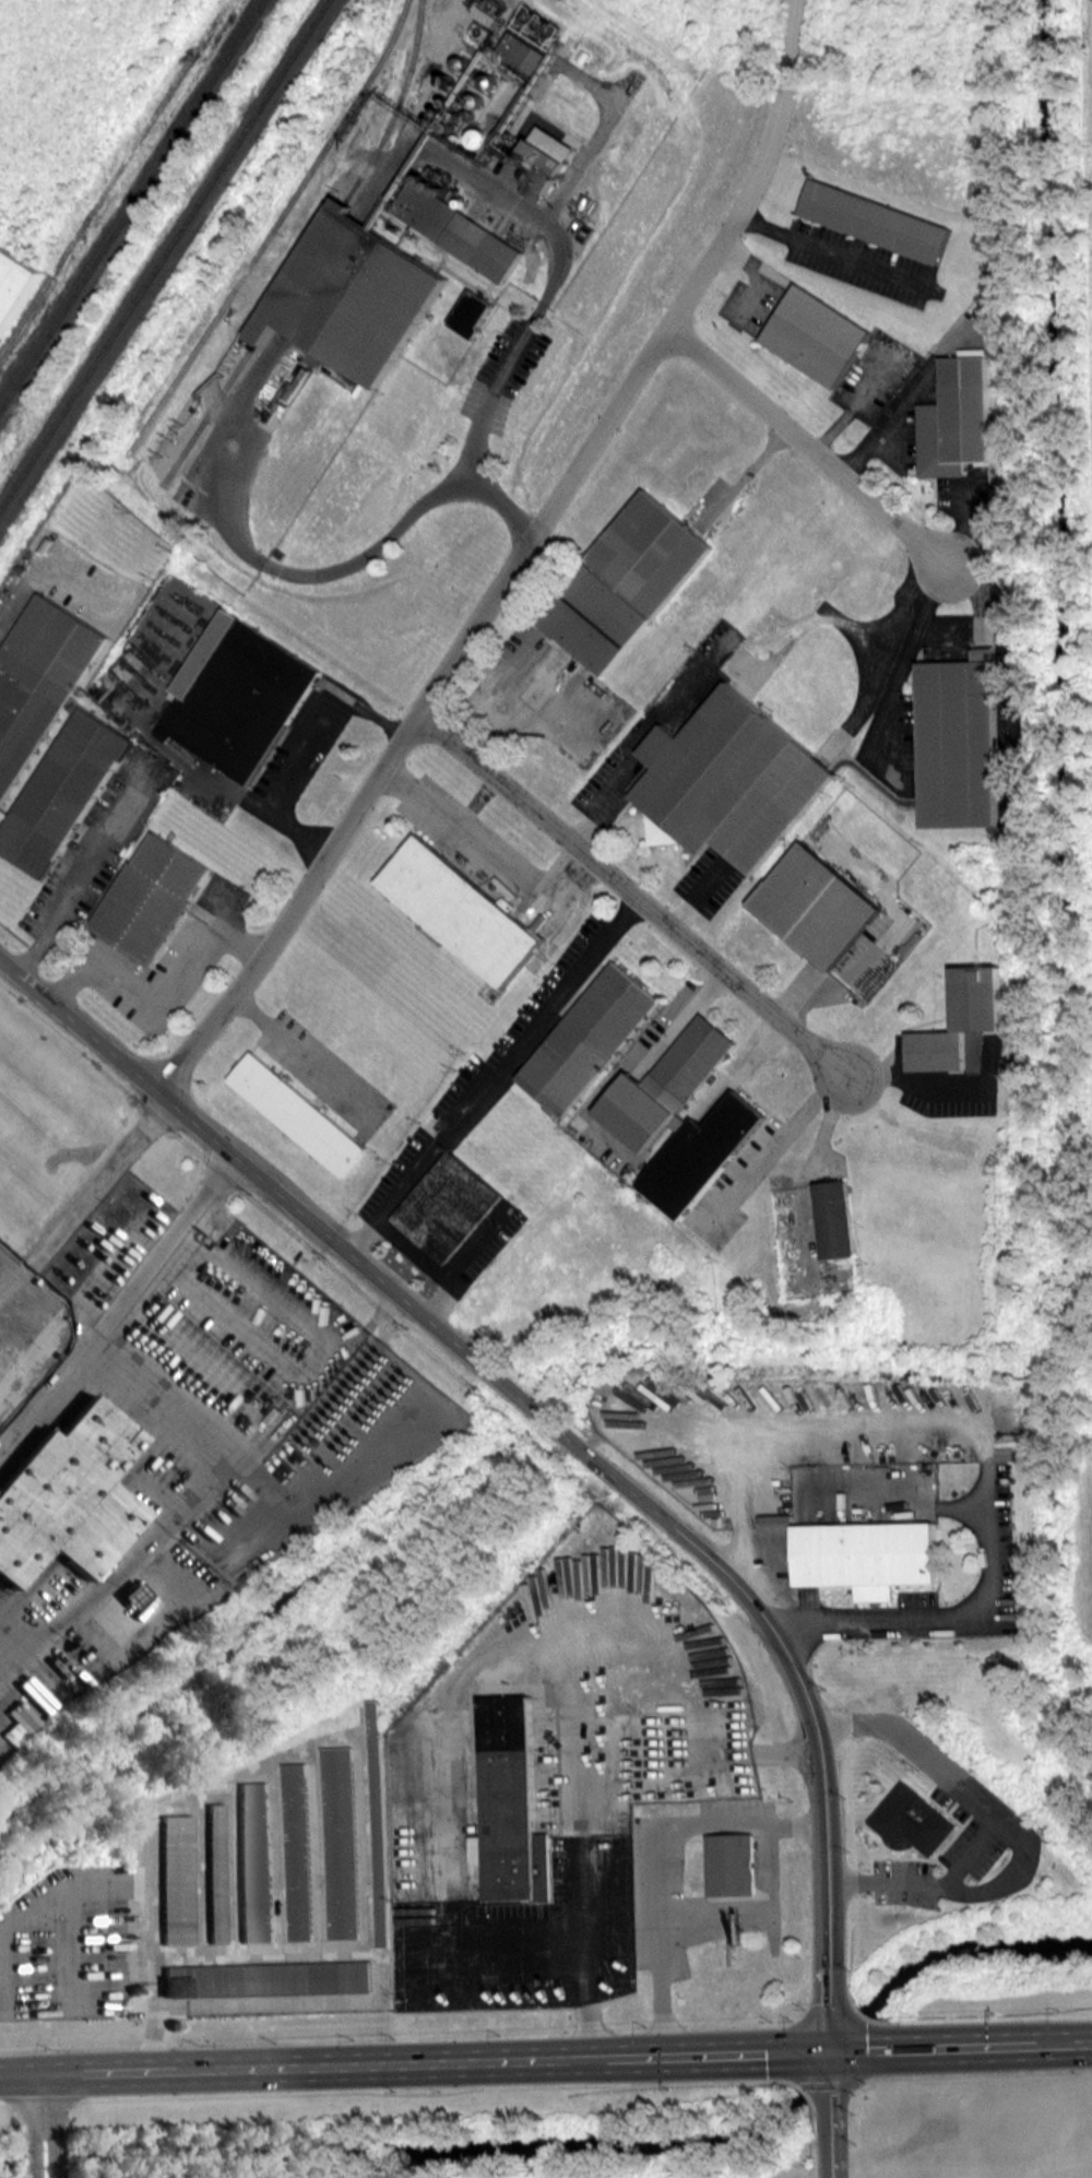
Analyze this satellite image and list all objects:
landfill: (1091, 27)
building: (523, 51)
building: (539, 167)
railway: (114, 174)
railway: (131, 203)
building: (880, 220)
railway: (270, 229)
building: (456, 229)
railway: (311, 249)
railway: (163, 253)
building: (14, 284)
building: (352, 295)
building: (473, 312)
building: (820, 335)
road: (496, 382)
building: (960, 418)
road: (810, 445)
road: (514, 561)
road: (284, 569)
building: (627, 581)
building: (237, 695)
road: (371, 712)
building: (92, 729)
building: (962, 742)
building: (733, 780)
road: (286, 790)
road: (485, 851)
road: (634, 893)
building: (151, 899)
building: (819, 905)
building: (462, 911)
road: (156, 993)
building: (964, 1020)
building: (589, 1039)
road: (306, 1057)
road: (491, 1073)
road: (917, 1080)
building: (297, 1113)
building: (684, 1116)
road: (820, 1144)
road: (779, 1149)
building: (448, 1208)
building: (835, 1220)
road: (418, 1260)
road: (111, 1315)
road: (556, 1428)
building: (68, 1498)
building: (868, 1556)
road: (938, 1612)
building: (510, 1810)
building: (910, 1820)
building: (378, 1821)
road: (1016, 1830)
building: (341, 1843)
building: (298, 1851)
building: (253, 1861)
building: (734, 1867)
building: (215, 1872)
building: (175, 1879)
road: (582, 1887)
road: (491, 1937)
building: (268, 1978)
road: (961, 2047)
traffic signals: (831, 2051)
road: (415, 2062)
road: (832, 2115)
road: (33, 2126)
road: (54, 2126)

